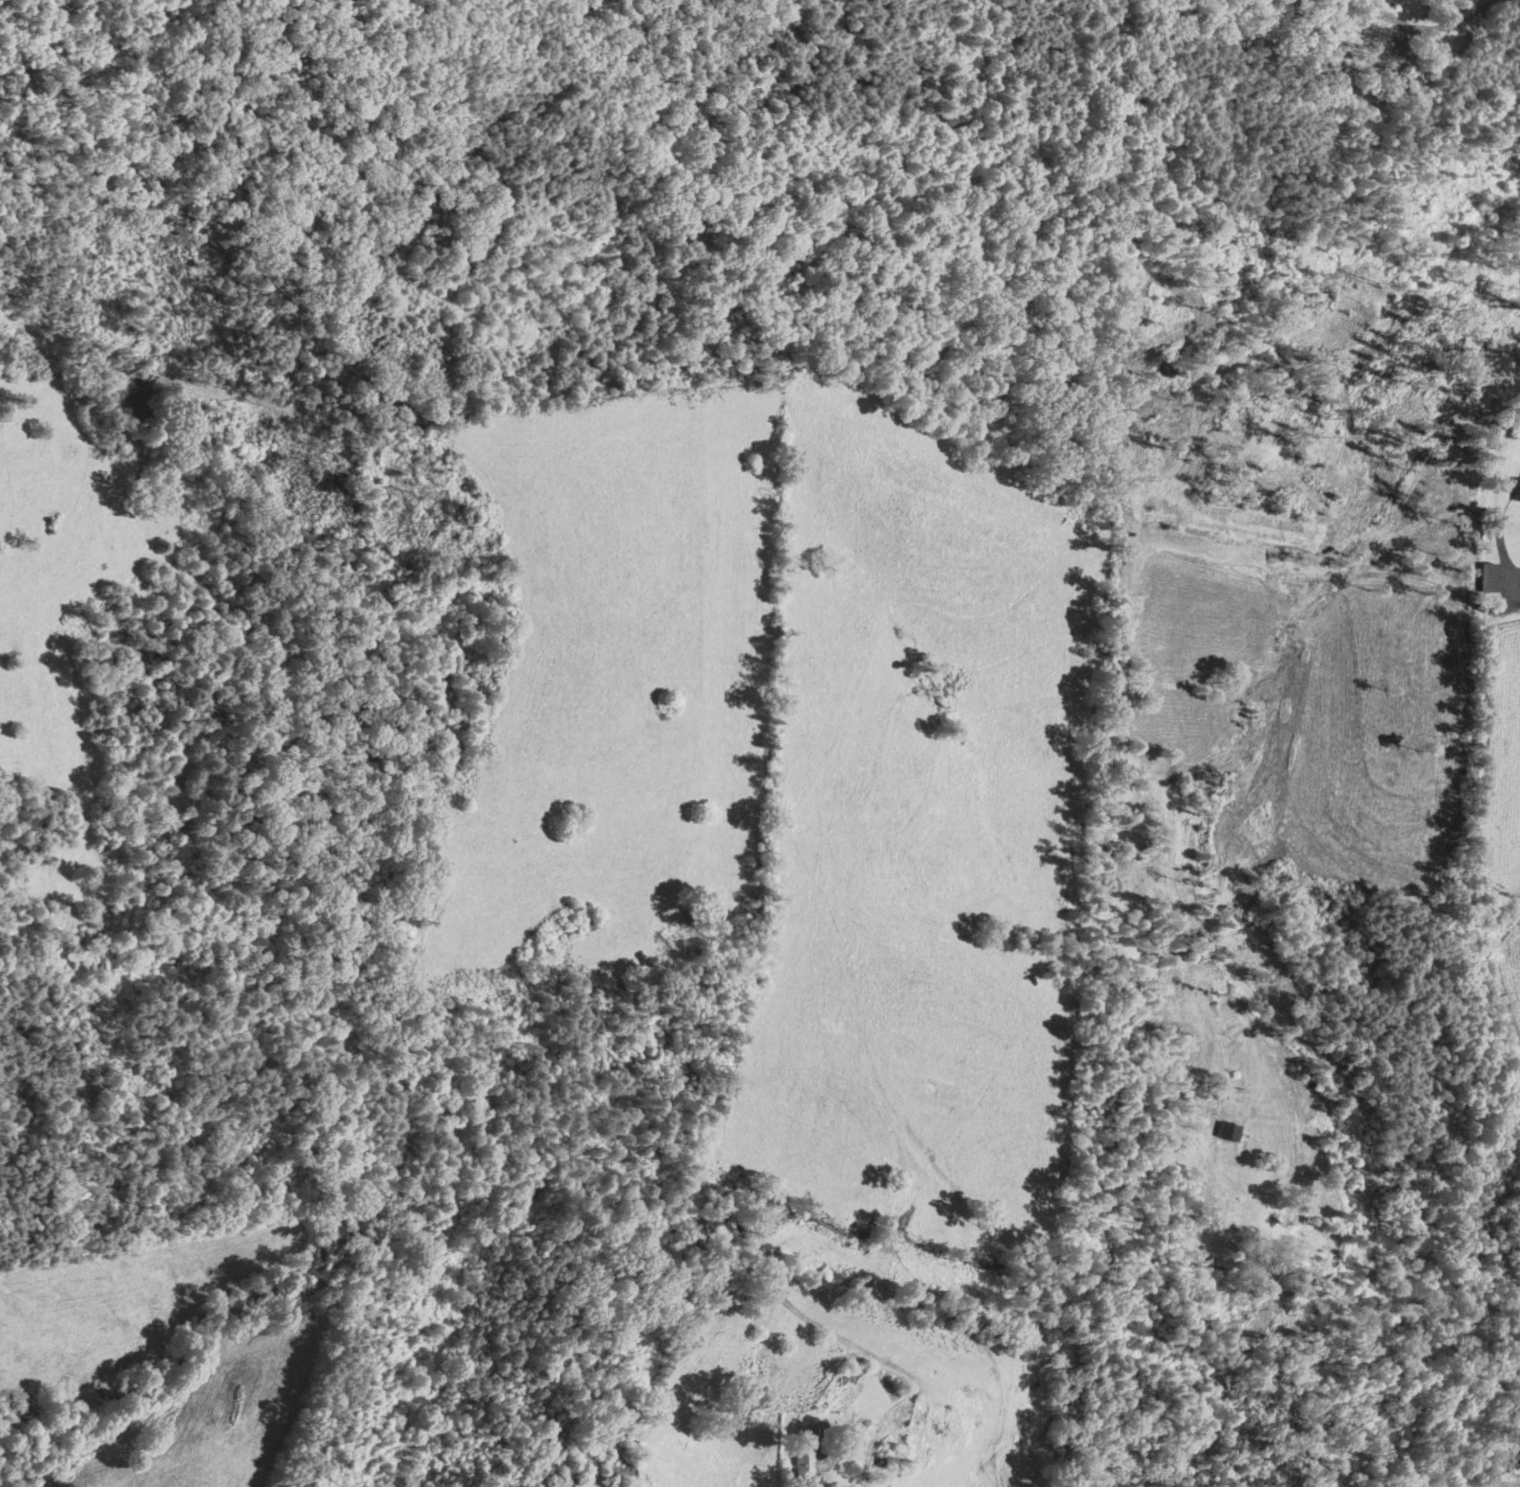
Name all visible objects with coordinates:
building: (1393, 1)
building: (1511, 427)
building: (1517, 491)
road: (1499, 548)
building: (1489, 579)
building: (1229, 1131)
road: (811, 1321)
building: (907, 1424)
building: (809, 1462)

